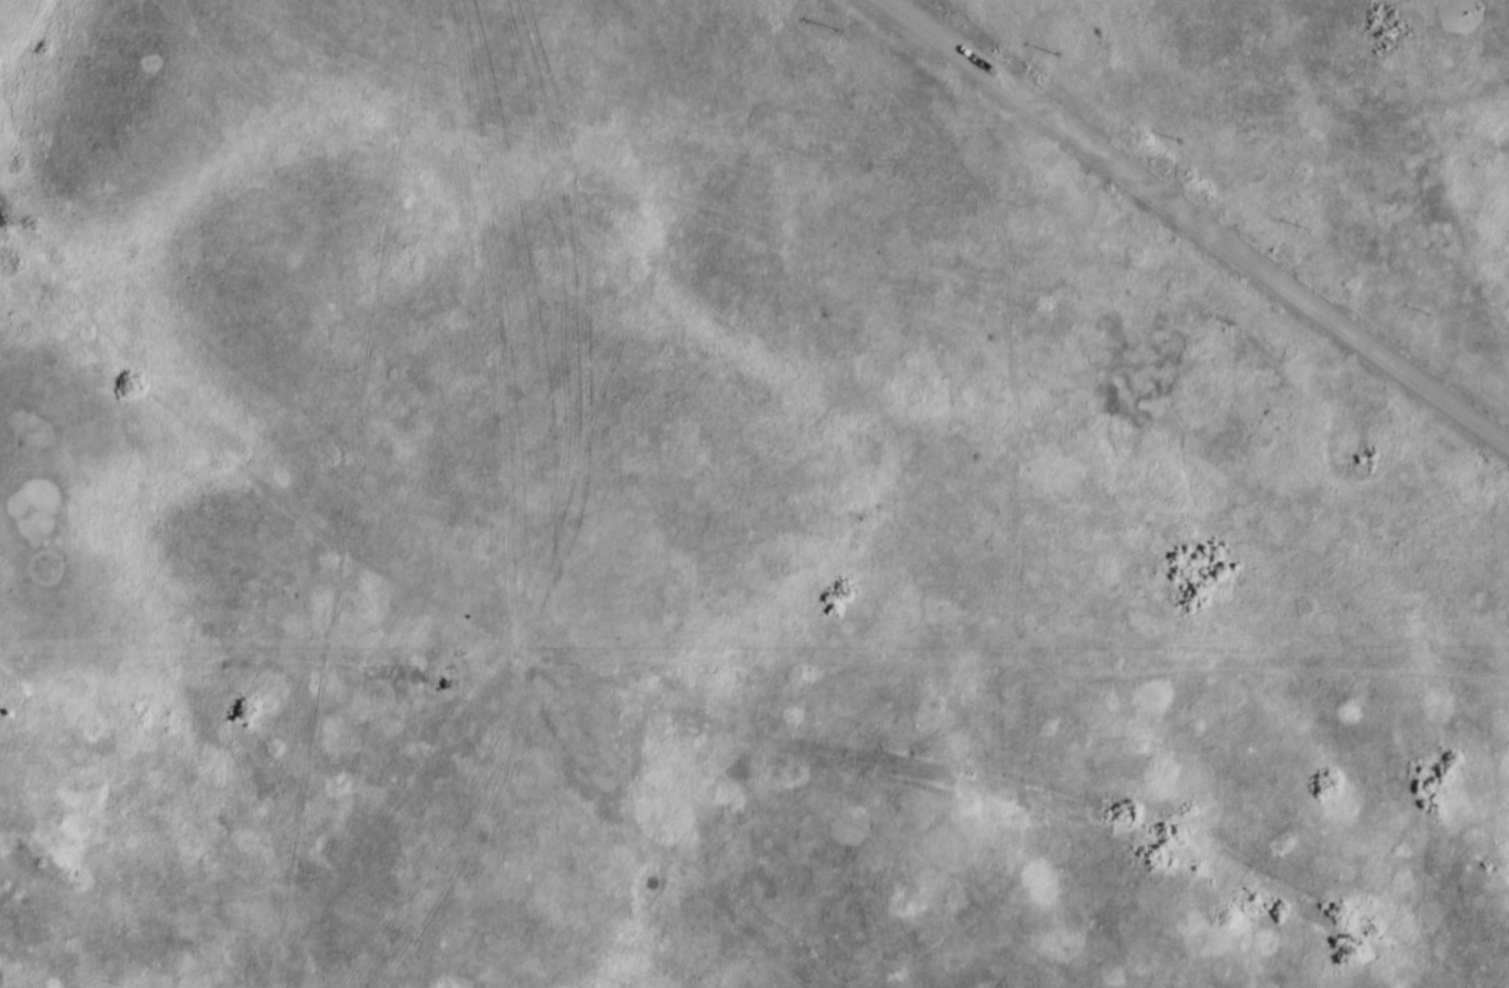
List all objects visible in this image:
road: (1198, 223)

